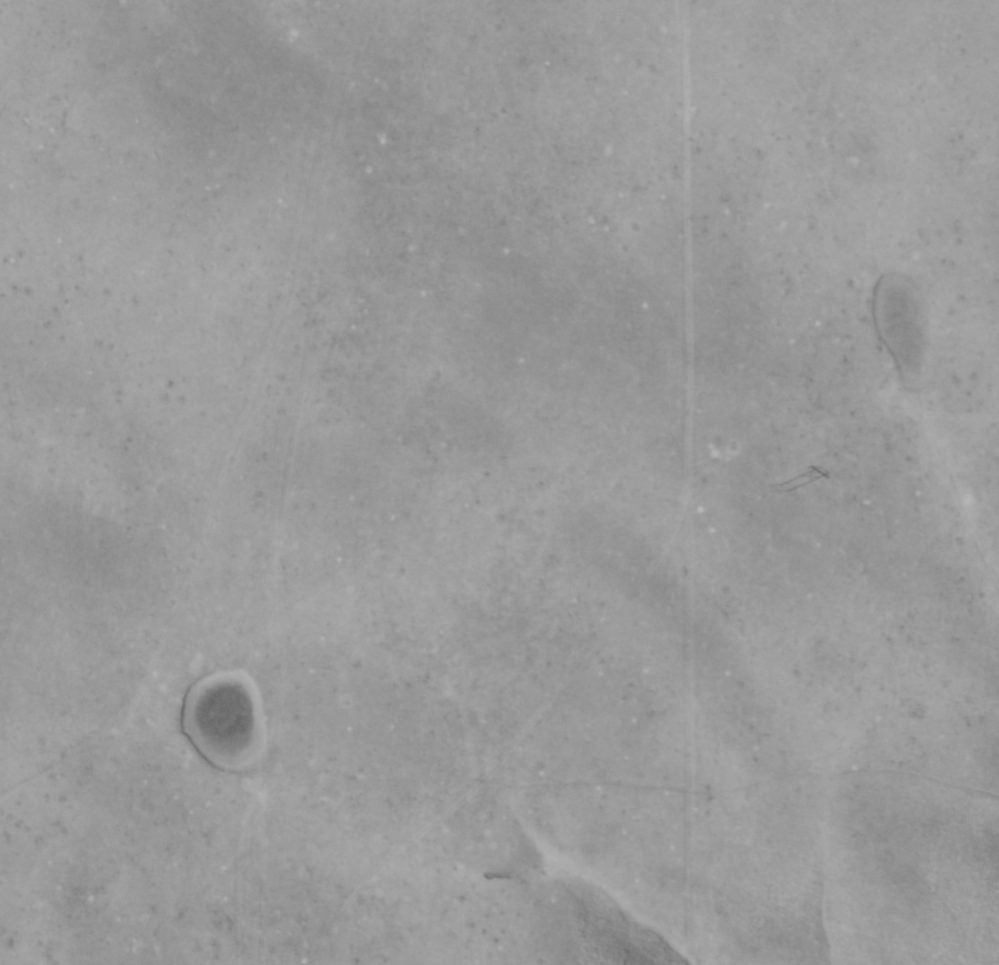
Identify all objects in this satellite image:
power tower: (786, 487)

